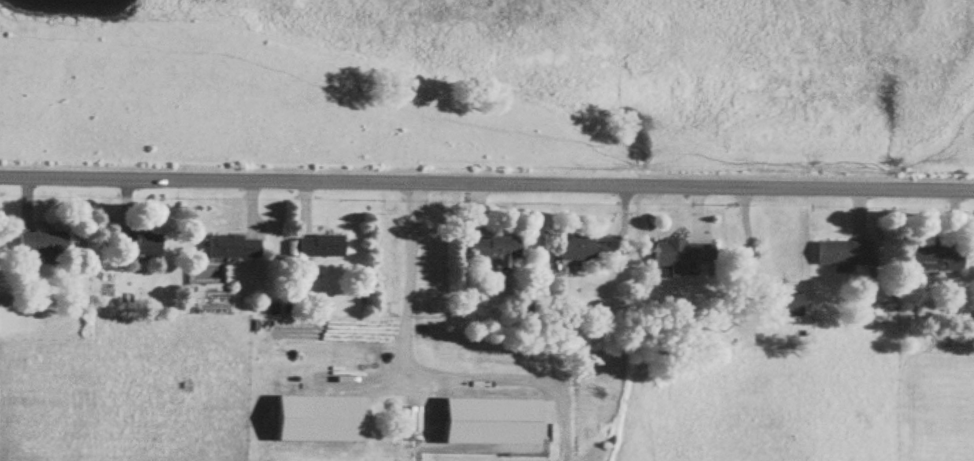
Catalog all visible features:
road: (487, 184)
building: (139, 246)
building: (44, 247)
building: (322, 248)
building: (235, 249)
building: (579, 250)
building: (497, 254)
building: (845, 256)
building: (684, 257)
building: (937, 259)
building: (789, 310)
road: (431, 372)
crop: (781, 395)

